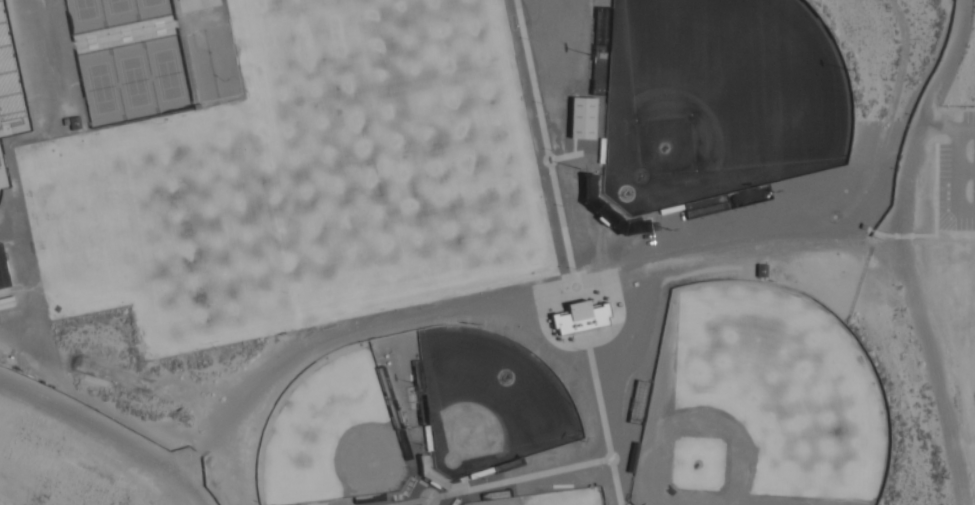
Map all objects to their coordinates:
park: (151, 3)
park: (196, 4)
park: (117, 6)
park: (84, 10)
street lamp: (527, 41)
park: (601, 46)
street lamp: (939, 62)
park: (212, 63)
park: (167, 75)
building: (7, 80)
park: (134, 81)
park: (101, 87)
stadium: (10, 96)
road: (534, 99)
park: (719, 99)
street lamp: (540, 105)
street lamp: (911, 117)
building: (582, 119)
building: (64, 121)
building: (74, 123)
road: (938, 125)
road: (13, 129)
street lamp: (551, 151)
road: (577, 152)
road: (1, 166)
street lamp: (896, 170)
road: (965, 170)
road: (954, 171)
parking lot: (956, 174)
park: (726, 201)
street lamp: (562, 207)
building: (611, 209)
road: (934, 223)
building: (655, 227)
building: (862, 227)
park: (190, 233)
street lamp: (871, 237)
road: (904, 250)
street lamp: (575, 269)
building: (760, 271)
building: (3, 274)
street lamp: (898, 289)
road: (542, 308)
building: (580, 318)
street lamp: (916, 346)
street lamp: (583, 351)
park: (388, 399)
park: (488, 401)
park: (762, 403)
street lamp: (935, 417)
road: (602, 422)
park: (332, 433)
park: (507, 465)
building: (412, 480)
road: (502, 481)
street lamp: (947, 482)
building: (404, 490)
park: (553, 497)
park: (369, 499)
street lamp: (427, 500)
building: (455, 502)

